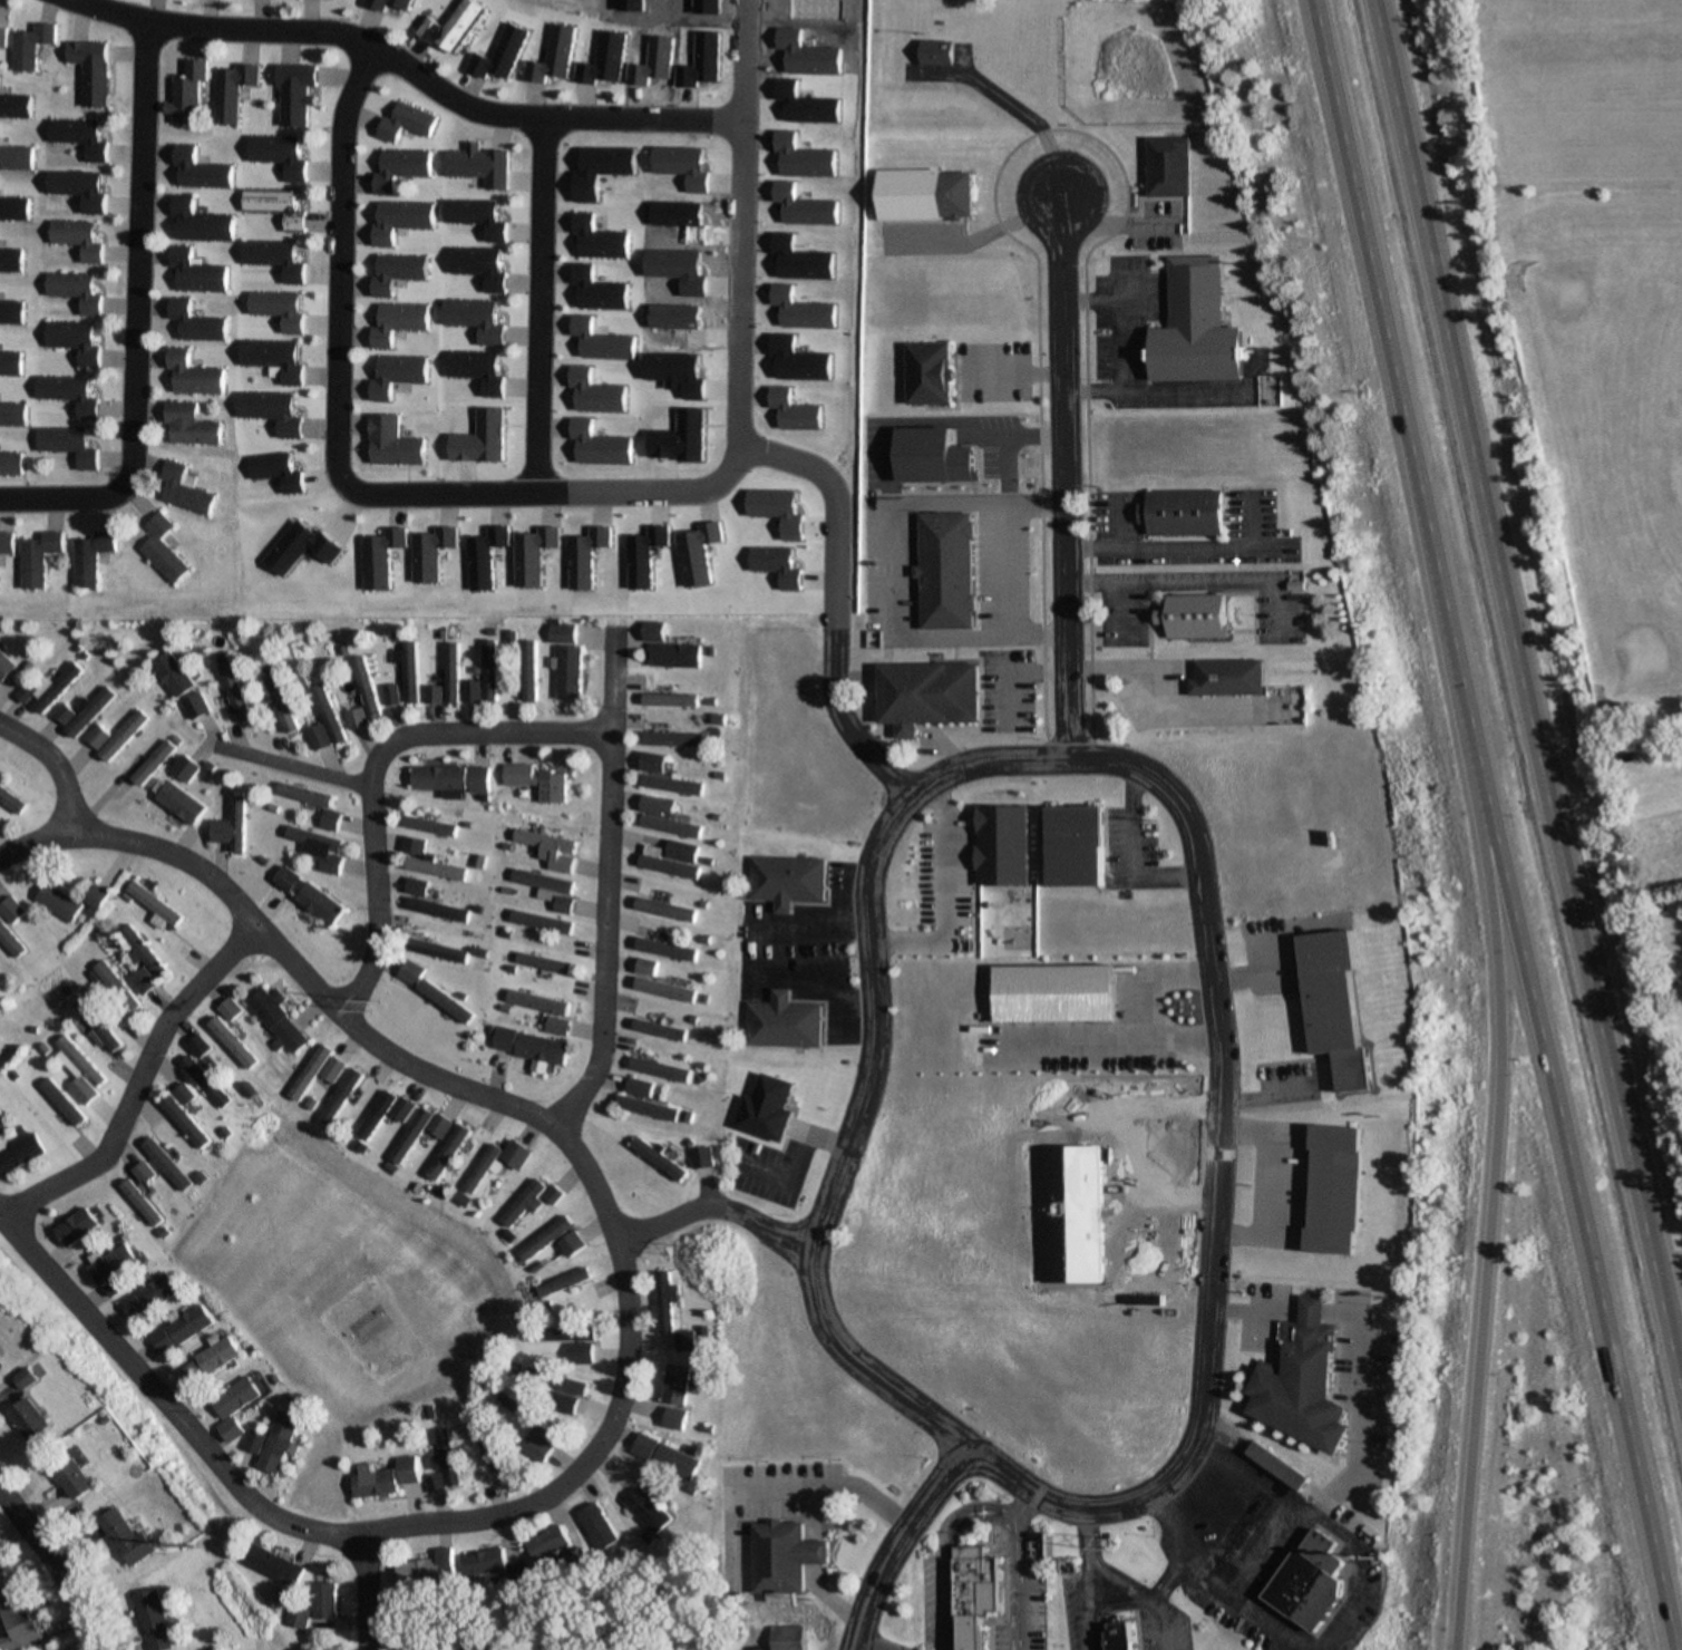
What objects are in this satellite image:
building: (379, 7)
building: (30, 45)
building: (939, 54)
building: (90, 70)
road: (419, 74)
building: (231, 90)
building: (296, 93)
building: (186, 94)
building: (14, 106)
building: (78, 136)
building: (279, 154)
building: (16, 157)
building: (1170, 166)
building: (400, 167)
building: (197, 169)
building: (79, 187)
building: (274, 206)
building: (13, 208)
road: (742, 221)
building: (198, 222)
building: (77, 239)
road: (136, 252)
building: (273, 259)
building: (10, 261)
building: (195, 272)
building: (74, 290)
road: (534, 301)
building: (11, 312)
building: (195, 322)
building: (1198, 328)
building: (74, 340)
building: (9, 363)
building: (930, 373)
building: (193, 375)
building: (68, 394)
building: (270, 411)
building: (11, 415)
building: (188, 425)
building: (67, 445)
building: (9, 465)
road: (340, 466)
road: (1062, 479)
building: (184, 488)
road: (62, 499)
building: (1185, 513)
building: (6, 543)
building: (162, 550)
building: (89, 557)
building: (37, 559)
building: (945, 571)
road: (830, 603)
building: (1197, 617)
building: (561, 633)
building: (668, 649)
building: (4, 667)
building: (407, 670)
building: (526, 671)
building: (567, 673)
building: (173, 676)
building: (1229, 678)
building: (445, 679)
building: (482, 679)
building: (364, 687)
building: (48, 689)
building: (234, 693)
building: (390, 696)
building: (926, 696)
building: (668, 700)
road: (1529, 701)
building: (280, 703)
building: (81, 714)
building: (327, 715)
building: (353, 719)
building: (121, 736)
building: (317, 737)
building: (95, 738)
building: (671, 740)
building: (651, 763)
building: (150, 764)
road: (283, 766)
road: (45, 769)
building: (184, 769)
road: (373, 770)
road: (1141, 774)
building: (437, 778)
building: (476, 780)
building: (538, 783)
building: (669, 786)
building: (302, 795)
building: (10, 803)
building: (178, 804)
building: (653, 806)
building: (328, 819)
road: (1495, 825)
building: (668, 826)
building: (230, 828)
building: (1075, 847)
building: (318, 848)
building: (547, 850)
building: (670, 860)
building: (432, 868)
building: (784, 881)
building: (541, 883)
building: (414, 886)
road: (599, 887)
road: (936, 893)
building: (305, 895)
building: (93, 897)
building: (56, 902)
building: (561, 904)
building: (152, 905)
building: (435, 910)
building: (662, 910)
building: (10, 911)
building: (538, 922)
building: (10, 942)
building: (663, 949)
building: (434, 950)
building: (142, 962)
building: (541, 962)
building: (655, 983)
building: (114, 987)
building: (1332, 992)
building: (438, 998)
building: (535, 1001)
building: (227, 1010)
power tower: (375, 1010)
building: (275, 1019)
building: (780, 1023)
building: (95, 1025)
building: (657, 1029)
building: (231, 1044)
building: (529, 1046)
building: (79, 1061)
building: (657, 1069)
building: (308, 1072)
road: (130, 1083)
building: (204, 1083)
building: (641, 1088)
building: (81, 1090)
building: (182, 1095)
building: (338, 1097)
building: (61, 1103)
building: (644, 1108)
building: (766, 1110)
building: (383, 1113)
building: (0, 1118)
building: (183, 1122)
road: (542, 1126)
building: (417, 1133)
building: (446, 1153)
building: (21, 1155)
building: (514, 1155)
building: (657, 1158)
building: (700, 1158)
building: (164, 1165)
building: (480, 1169)
building: (140, 1174)
building: (1331, 1191)
building: (527, 1202)
building: (138, 1204)
road: (711, 1205)
road: (1488, 1209)
building: (76, 1227)
building: (544, 1240)
building: (572, 1245)
power tower: (710, 1254)
building: (110, 1265)
building: (561, 1283)
building: (147, 1298)
building: (663, 1301)
building: (187, 1326)
building: (562, 1334)
building: (683, 1341)
building: (159, 1342)
building: (577, 1355)
building: (0, 1358)
building: (206, 1362)
building: (1296, 1376)
building: (554, 1382)
building: (672, 1386)
road: (145, 1391)
building: (563, 1406)
building: (233, 1407)
building: (528, 1419)
building: (29, 1420)
road: (955, 1439)
building: (250, 1443)
building: (275, 1443)
building: (534, 1449)
building: (492, 1450)
building: (661, 1458)
building: (446, 1459)
building: (1275, 1467)
building: (386, 1479)
building: (72, 1481)
building: (435, 1484)
road: (1017, 1501)
road: (976, 1503)
building: (644, 1512)
building: (595, 1527)
building: (1238, 1533)
building: (123, 1539)
road: (1083, 1540)
road: (894, 1541)
power tower: (172, 1544)
building: (545, 1544)
power tower: (1105, 1544)
building: (774, 1555)
road: (1256, 1557)
building: (483, 1563)
building: (271, 1566)
road: (49, 1567)
building: (418, 1573)
building: (518, 1574)
road: (1166, 1574)
road: (1106, 1576)
building: (1309, 1584)
road: (363, 1592)
building: (974, 1594)
building: (322, 1602)
building: (295, 1618)
building: (148, 1621)
building: (16, 1622)
building: (1118, 1634)
building: (784, 1638)
road: (866, 1643)

